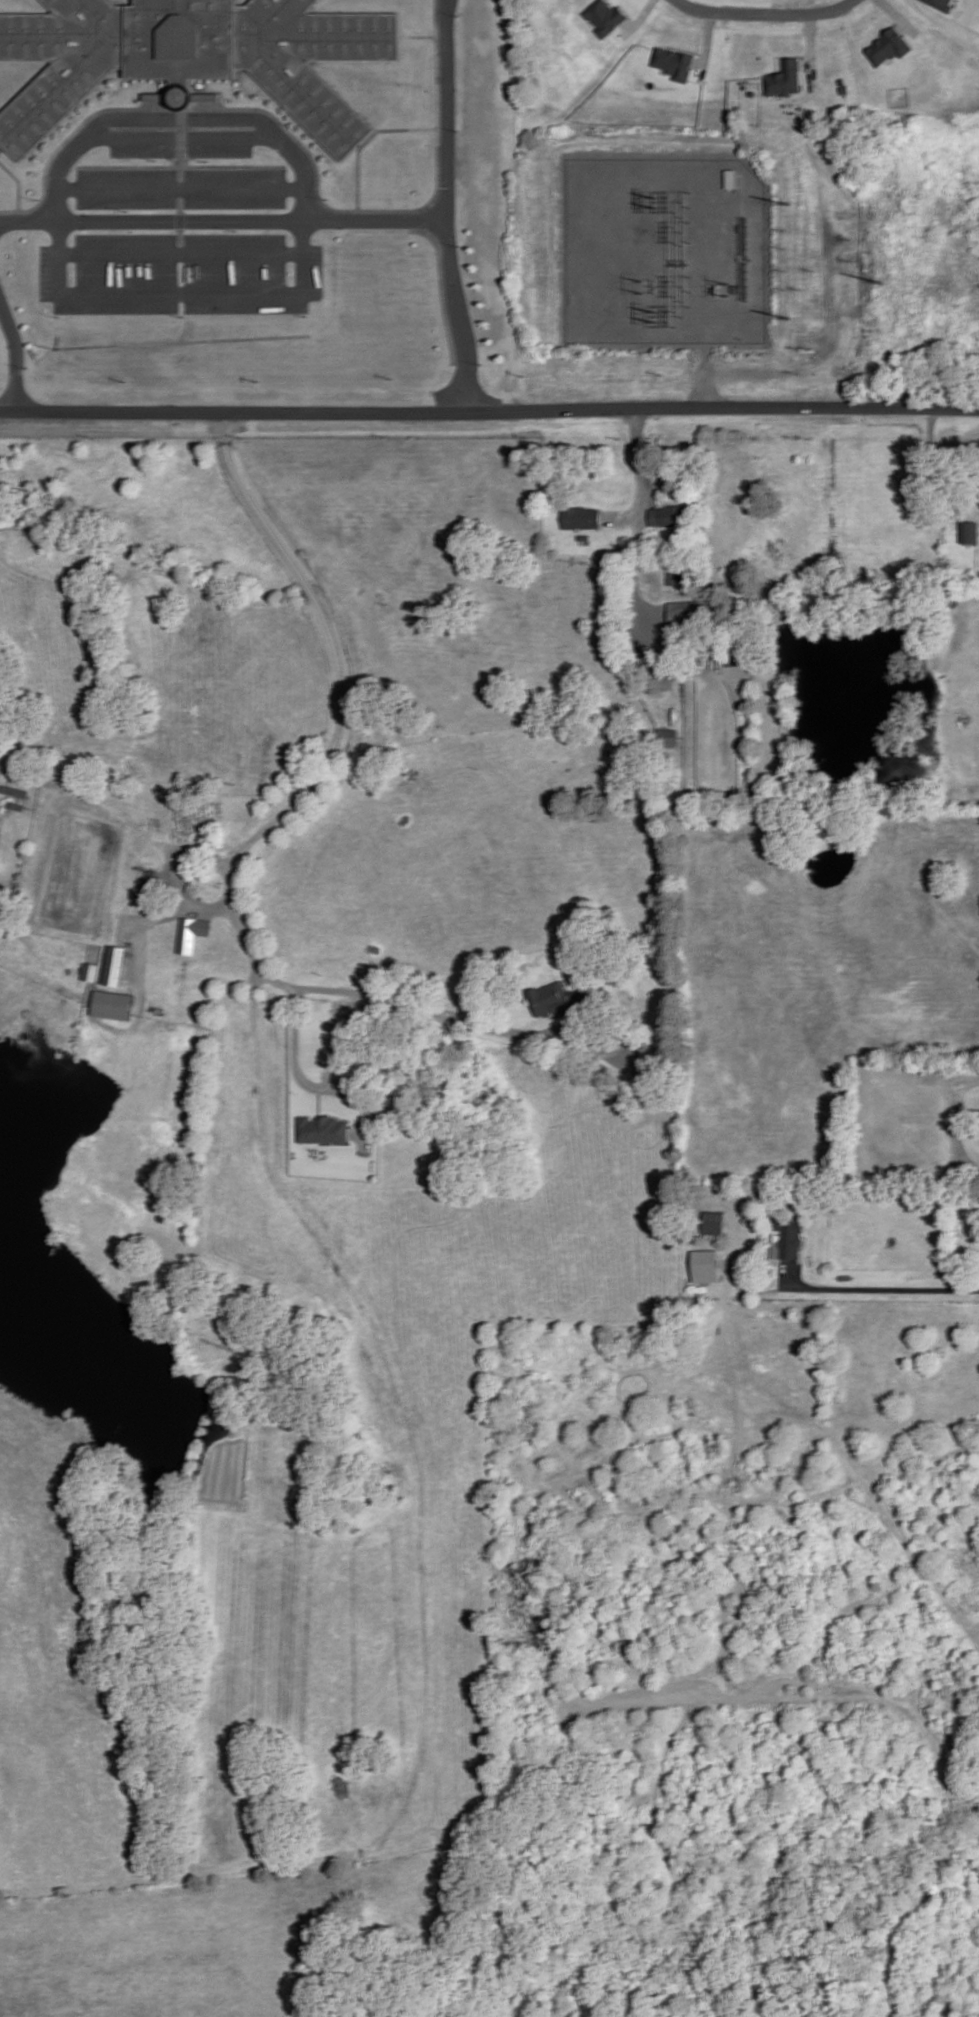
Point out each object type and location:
building: (944, 3)
road: (764, 11)
street lamp: (456, 13)
building: (605, 15)
road: (900, 16)
road: (639, 18)
street lamp: (729, 19)
road: (885, 30)
road: (416, 38)
road: (707, 42)
road: (811, 42)
building: (891, 45)
road: (684, 48)
road: (785, 54)
building: (191, 58)
building: (673, 61)
building: (784, 77)
building: (846, 88)
road: (442, 111)
road: (363, 142)
road: (178, 145)
road: (2, 147)
road: (301, 150)
road: (178, 168)
building: (731, 178)
road: (17, 185)
road: (176, 190)
road: (220, 223)
road: (297, 223)
parking lot: (179, 231)
power substation: (663, 249)
road: (177, 255)
road: (456, 317)
road: (13, 356)
road: (704, 380)
road: (489, 412)
road: (932, 466)
road: (639, 474)
building: (670, 517)
building: (579, 520)
building: (970, 531)
road: (633, 581)
building: (686, 622)
building: (735, 659)
building: (659, 677)
road: (339, 717)
building: (667, 737)
building: (13, 793)
road: (122, 819)
road: (162, 917)
building: (191, 935)
building: (116, 968)
building: (90, 973)
building: (545, 998)
road: (425, 1015)
building: (647, 1059)
road: (307, 1084)
road: (952, 1093)
road: (317, 1102)
building: (322, 1131)
road: (340, 1147)
building: (708, 1222)
building: (784, 1236)
building: (705, 1265)
road: (875, 1289)
road: (421, 1579)

